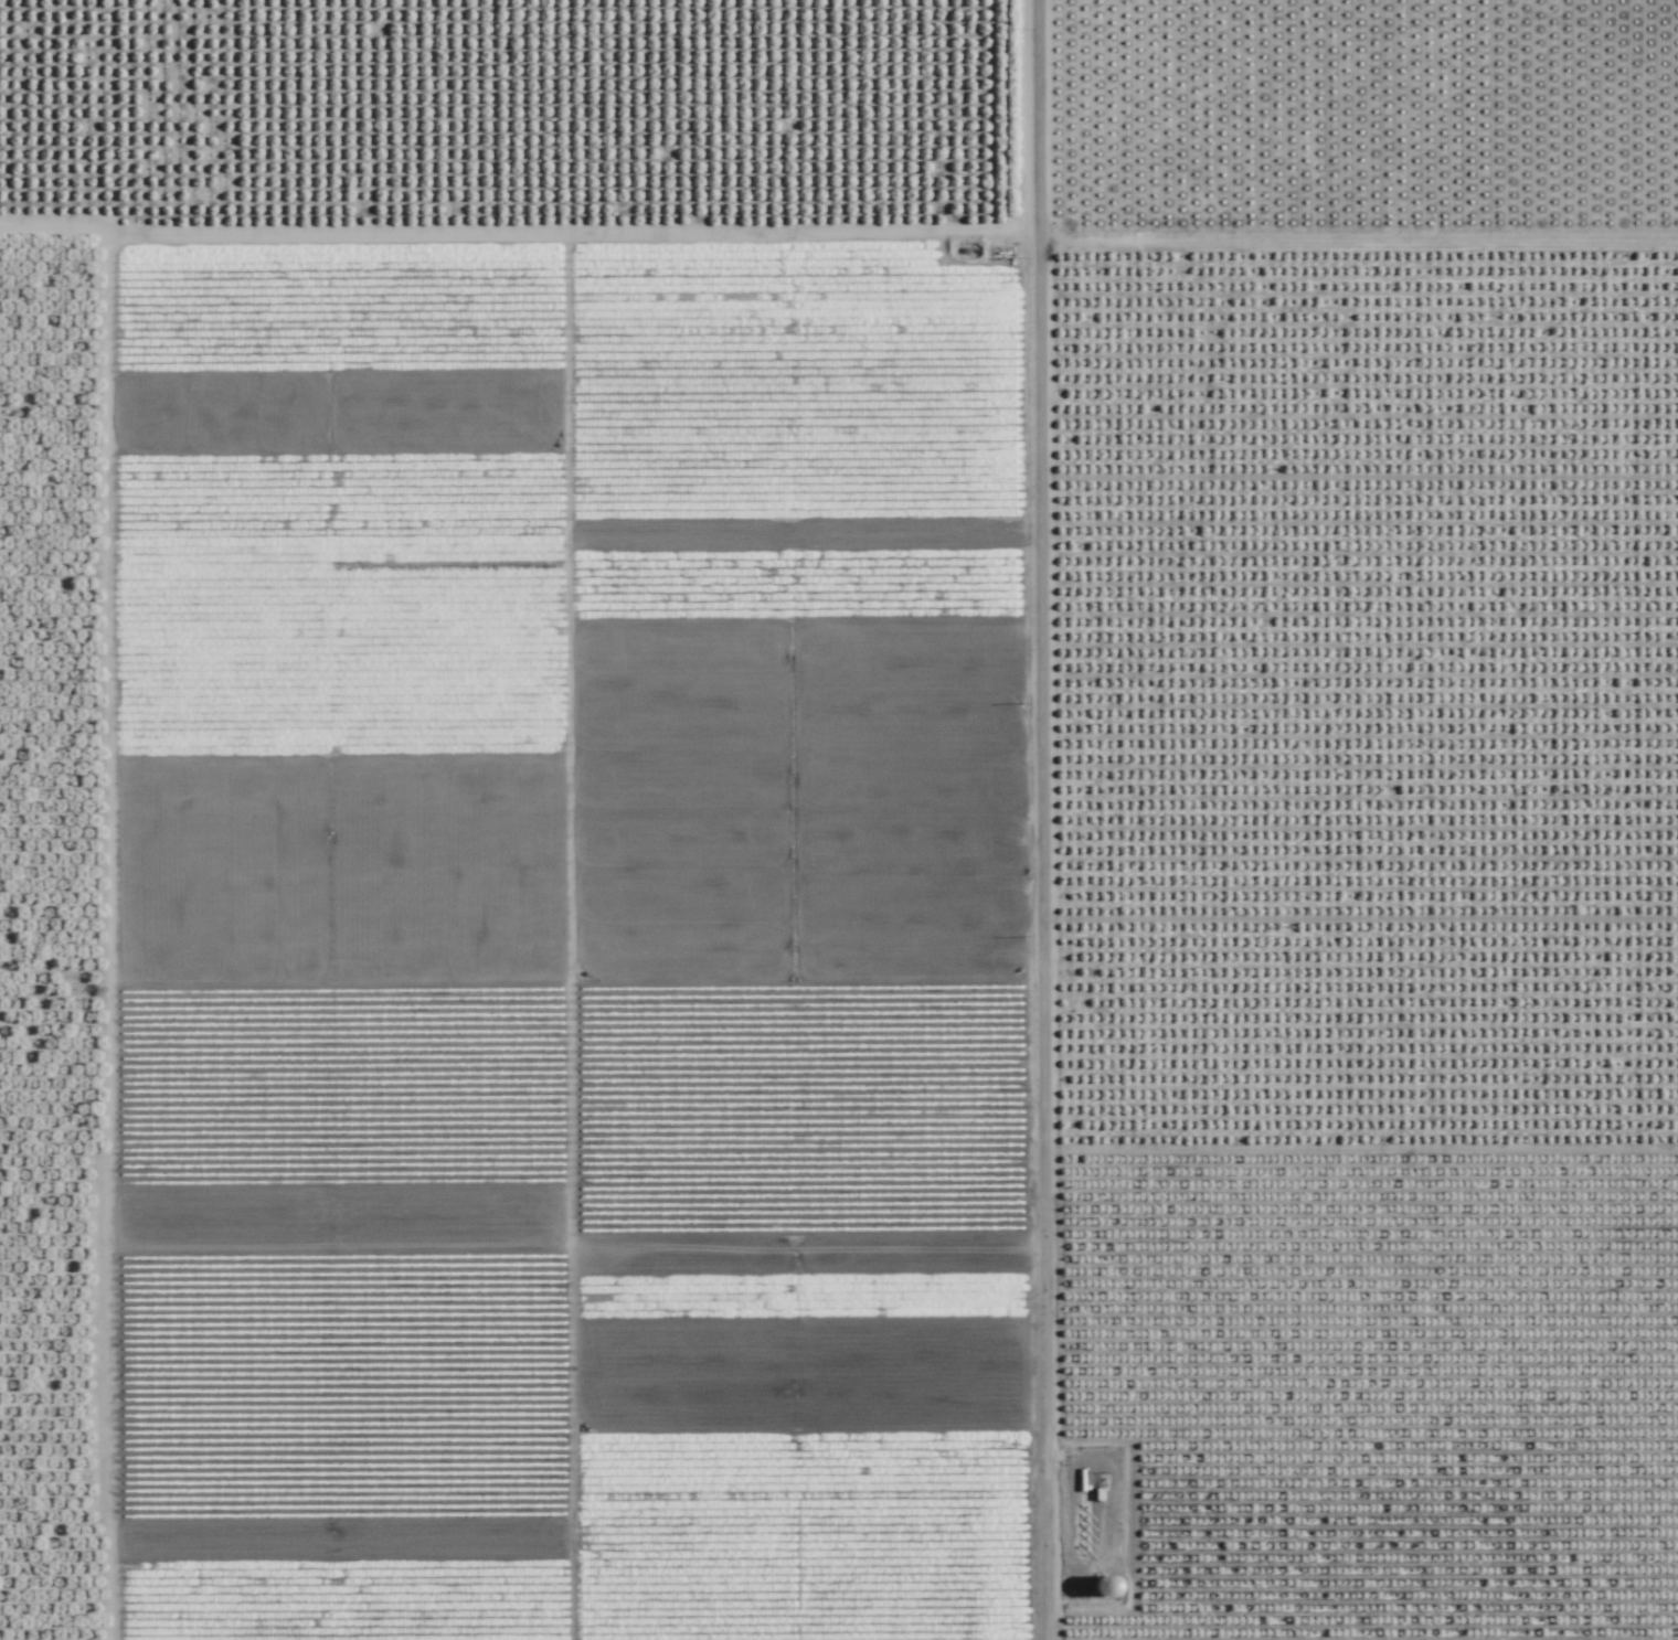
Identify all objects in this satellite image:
road: (61, 134)
crop: (839, 820)
road: (1041, 820)
building: (1108, 1586)

